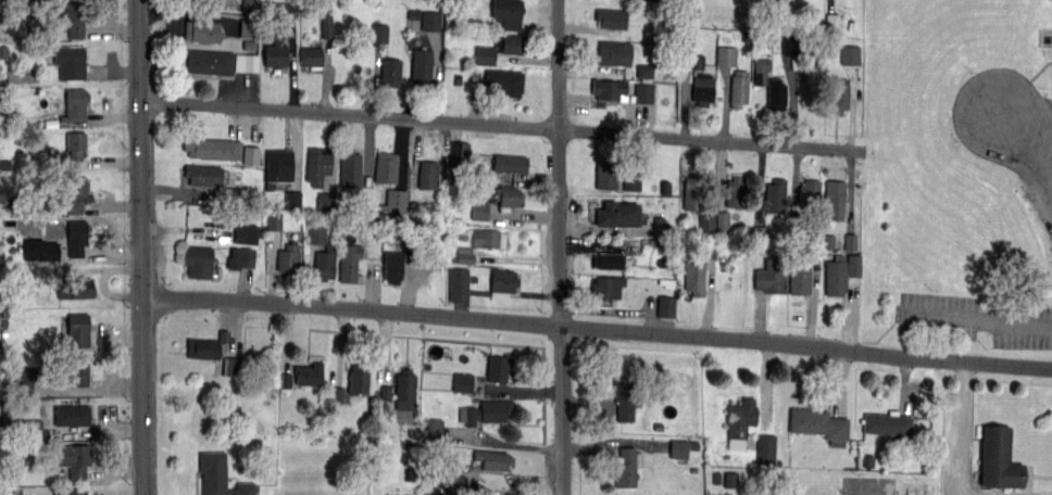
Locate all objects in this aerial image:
building: (247, 4)
building: (506, 12)
building: (611, 17)
building: (72, 21)
building: (430, 21)
building: (831, 21)
building: (246, 27)
building: (201, 30)
building: (379, 33)
building: (509, 42)
building: (612, 52)
building: (275, 54)
building: (485, 55)
building: (725, 55)
building: (850, 55)
building: (310, 56)
building: (70, 61)
building: (209, 61)
building: (694, 61)
building: (246, 63)
building: (421, 65)
building: (389, 71)
building: (643, 71)
building: (505, 80)
building: (737, 87)
building: (608, 88)
building: (702, 88)
building: (643, 93)
building: (776, 93)
building: (837, 94)
building: (76, 103)
road: (349, 114)
parking lot: (1009, 128)
road: (712, 138)
building: (75, 147)
building: (211, 147)
building: (460, 150)
building: (251, 155)
road: (1027, 158)
building: (509, 162)
building: (277, 165)
building: (316, 165)
building: (385, 166)
building: (350, 167)
building: (605, 173)
building: (427, 174)
building: (202, 175)
building: (630, 182)
building: (692, 192)
building: (735, 192)
building: (77, 193)
building: (508, 195)
building: (773, 195)
building: (809, 195)
building: (835, 198)
building: (292, 199)
building: (393, 202)
building: (479, 211)
building: (616, 213)
building: (713, 221)
building: (246, 233)
building: (316, 234)
building: (761, 234)
building: (77, 237)
building: (487, 238)
road: (140, 246)
road: (560, 247)
building: (41, 250)
building: (464, 255)
building: (241, 258)
building: (197, 259)
building: (288, 259)
building: (608, 261)
building: (324, 262)
building: (349, 264)
building: (392, 266)
building: (693, 275)
building: (771, 275)
building: (835, 275)
building: (799, 276)
building: (503, 281)
building: (606, 287)
building: (75, 288)
building: (665, 306)
parking lot: (975, 318)
road: (981, 319)
building: (77, 328)
road: (597, 329)
building: (205, 348)
building: (497, 367)
building: (79, 370)
building: (308, 373)
building: (358, 379)
building: (23, 382)
building: (463, 382)
building: (404, 389)
building: (387, 393)
building: (624, 397)
building: (486, 411)
building: (71, 414)
building: (739, 422)
building: (818, 423)
building: (888, 424)
building: (433, 427)
road: (959, 428)
building: (32, 430)
parking lot: (962, 447)
building: (678, 448)
building: (765, 448)
building: (998, 457)
building: (74, 459)
building: (492, 459)
building: (626, 466)
building: (218, 475)
building: (730, 480)
building: (456, 484)
building: (70, 491)
building: (14, 492)

